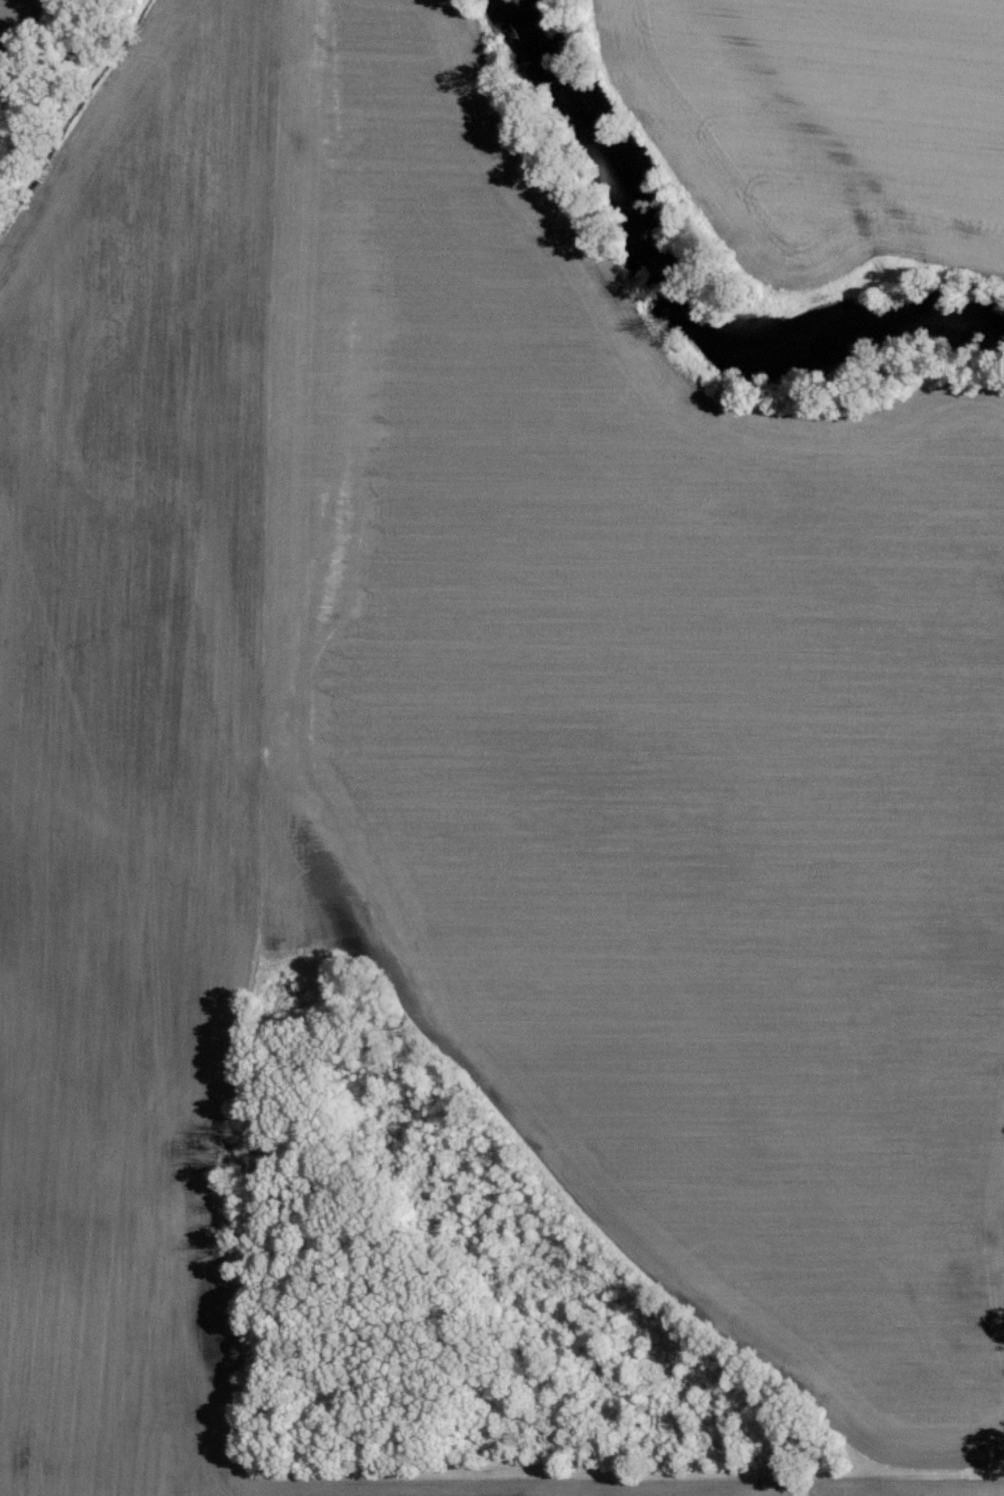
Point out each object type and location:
river: (687, 305)

